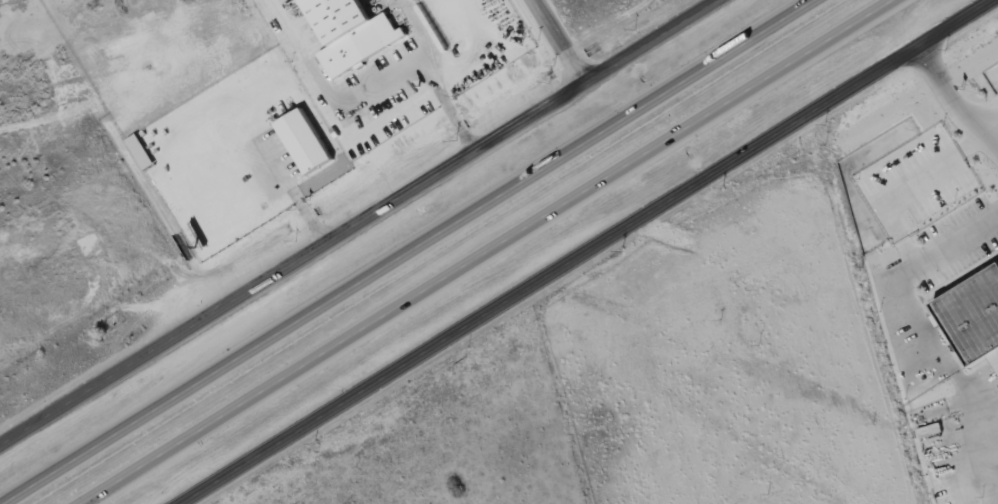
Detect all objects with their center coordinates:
building: (349, 33)
road: (556, 41)
road: (433, 76)
road: (952, 104)
building: (302, 141)
road: (358, 221)
road: (405, 251)
road: (587, 251)
road: (485, 252)
road: (907, 270)
building: (974, 315)
road: (974, 404)

